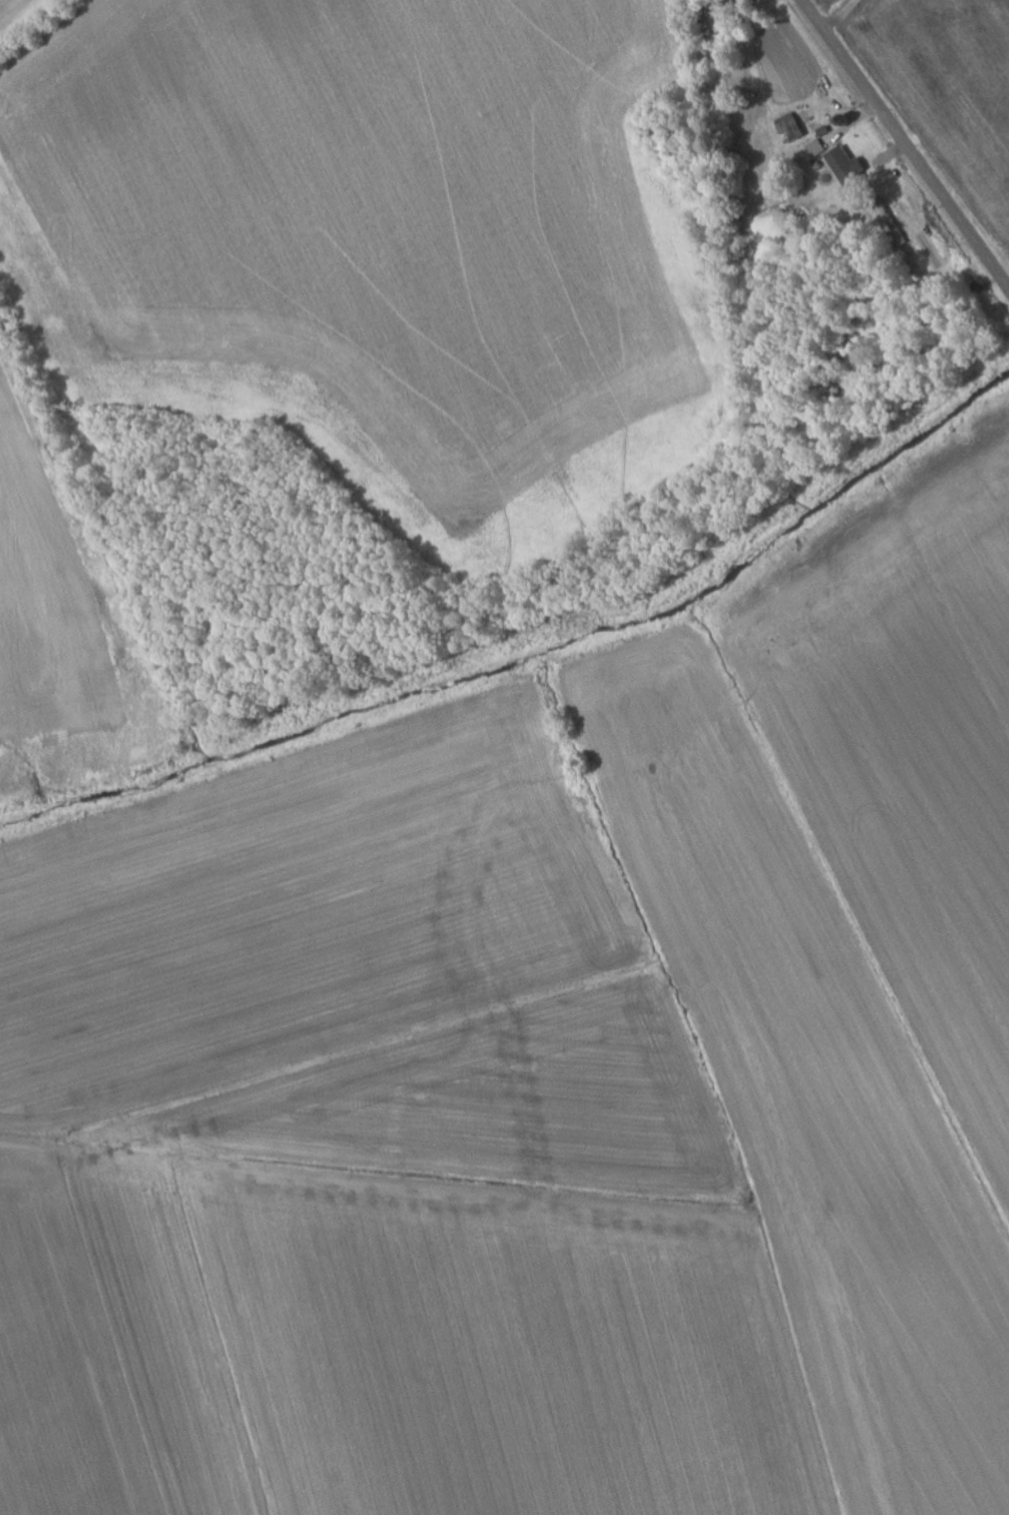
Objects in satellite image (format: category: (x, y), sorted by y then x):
building: (796, 128)
road: (904, 144)
building: (818, 148)
building: (849, 167)

